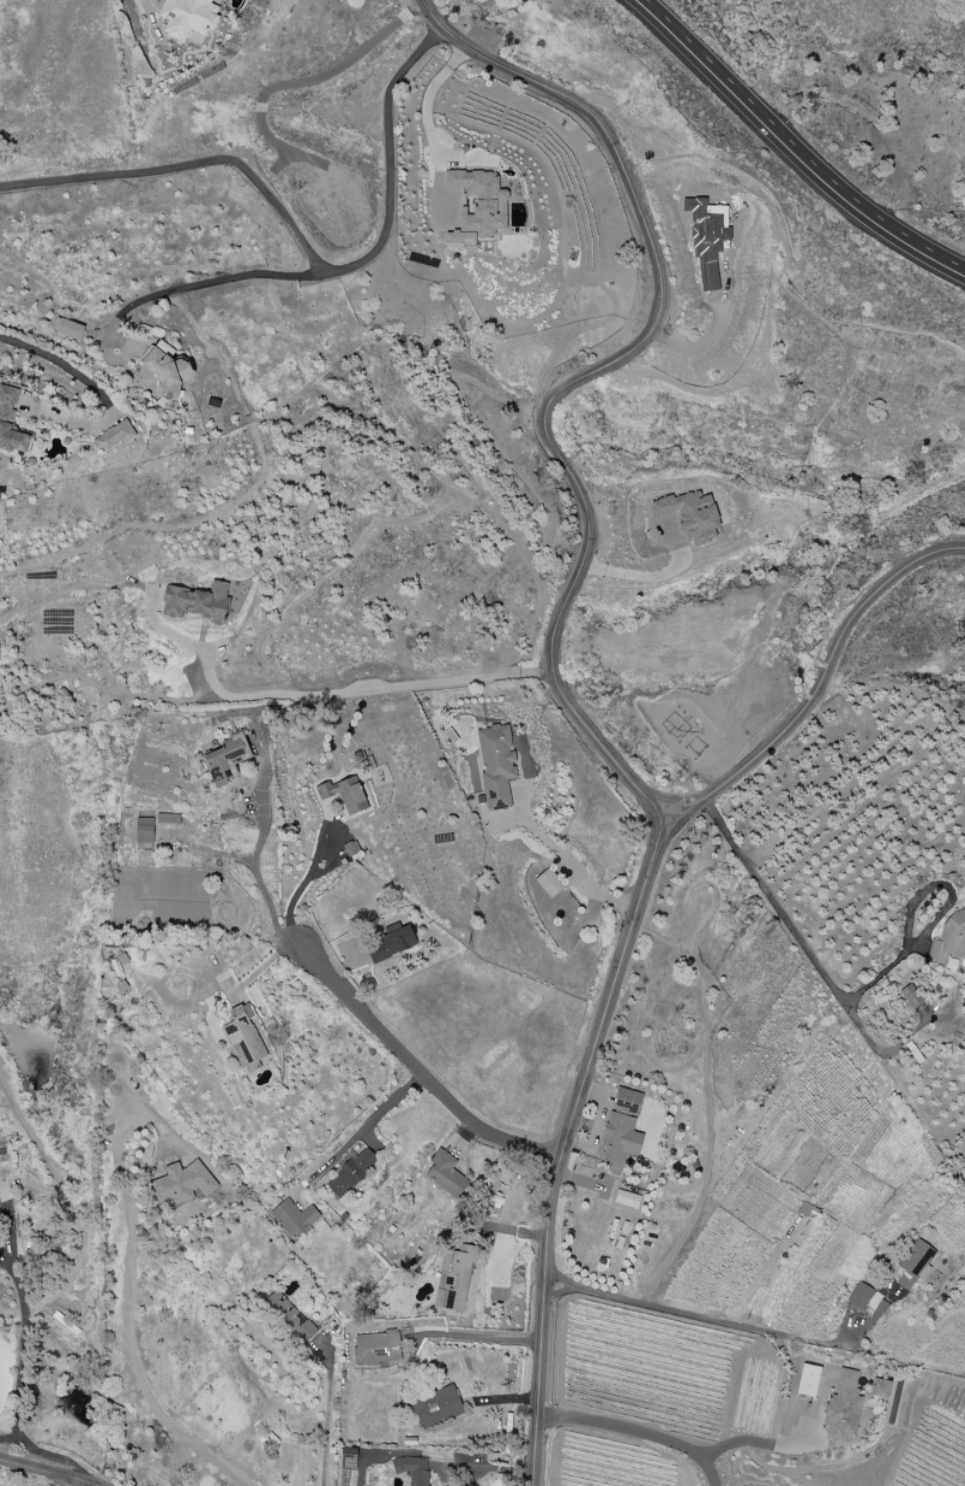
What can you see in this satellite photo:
building: (187, 17)
road: (427, 125)
road: (797, 145)
building: (477, 206)
road: (300, 240)
road: (206, 284)
road: (718, 327)
building: (67, 329)
building: (164, 348)
road: (73, 372)
building: (167, 373)
building: (10, 422)
building: (114, 436)
building: (690, 514)
road: (582, 552)
building: (196, 602)
road: (320, 694)
building: (226, 759)
building: (496, 765)
building: (344, 794)
building: (167, 818)
building: (143, 832)
building: (351, 850)
road: (570, 868)
road: (256, 876)
road: (302, 882)
building: (548, 883)
road: (789, 927)
building: (949, 939)
building: (391, 943)
building: (910, 996)
building: (244, 1039)
road: (418, 1070)
road: (367, 1128)
building: (621, 1130)
road: (561, 1144)
building: (350, 1171)
building: (445, 1174)
building: (183, 1183)
building: (626, 1199)
building: (807, 1211)
building: (293, 1218)
building: (913, 1263)
road: (67, 1264)
building: (454, 1278)
building: (860, 1296)
road: (127, 1297)
road: (15, 1311)
building: (288, 1317)
road: (728, 1323)
road: (473, 1336)
building: (377, 1348)
building: (807, 1380)
building: (879, 1388)
building: (436, 1407)
building: (842, 1407)
road: (329, 1411)
road: (638, 1431)
road: (775, 1443)
road: (53, 1456)
road: (482, 1468)
building: (412, 1469)
road: (47, 1471)
road: (70, 1482)

